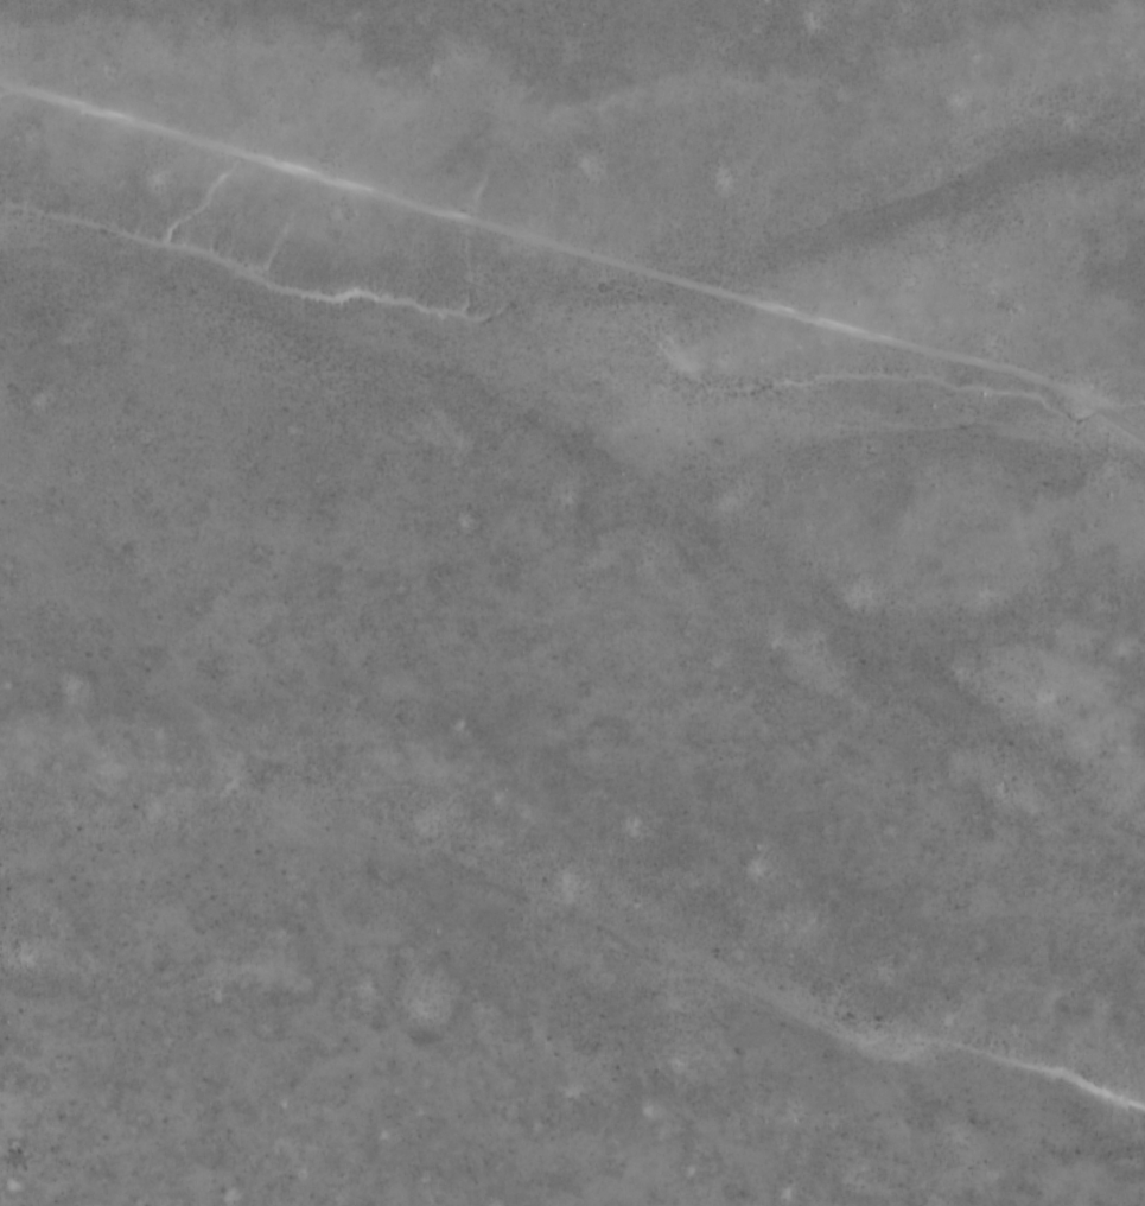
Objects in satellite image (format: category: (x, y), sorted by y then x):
road: (577, 252)

